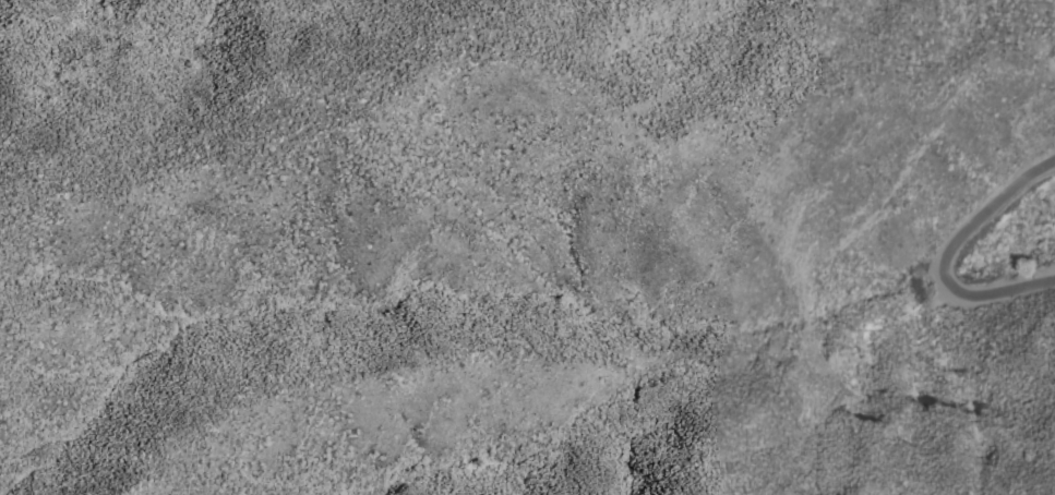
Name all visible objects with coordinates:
road: (958, 261)

